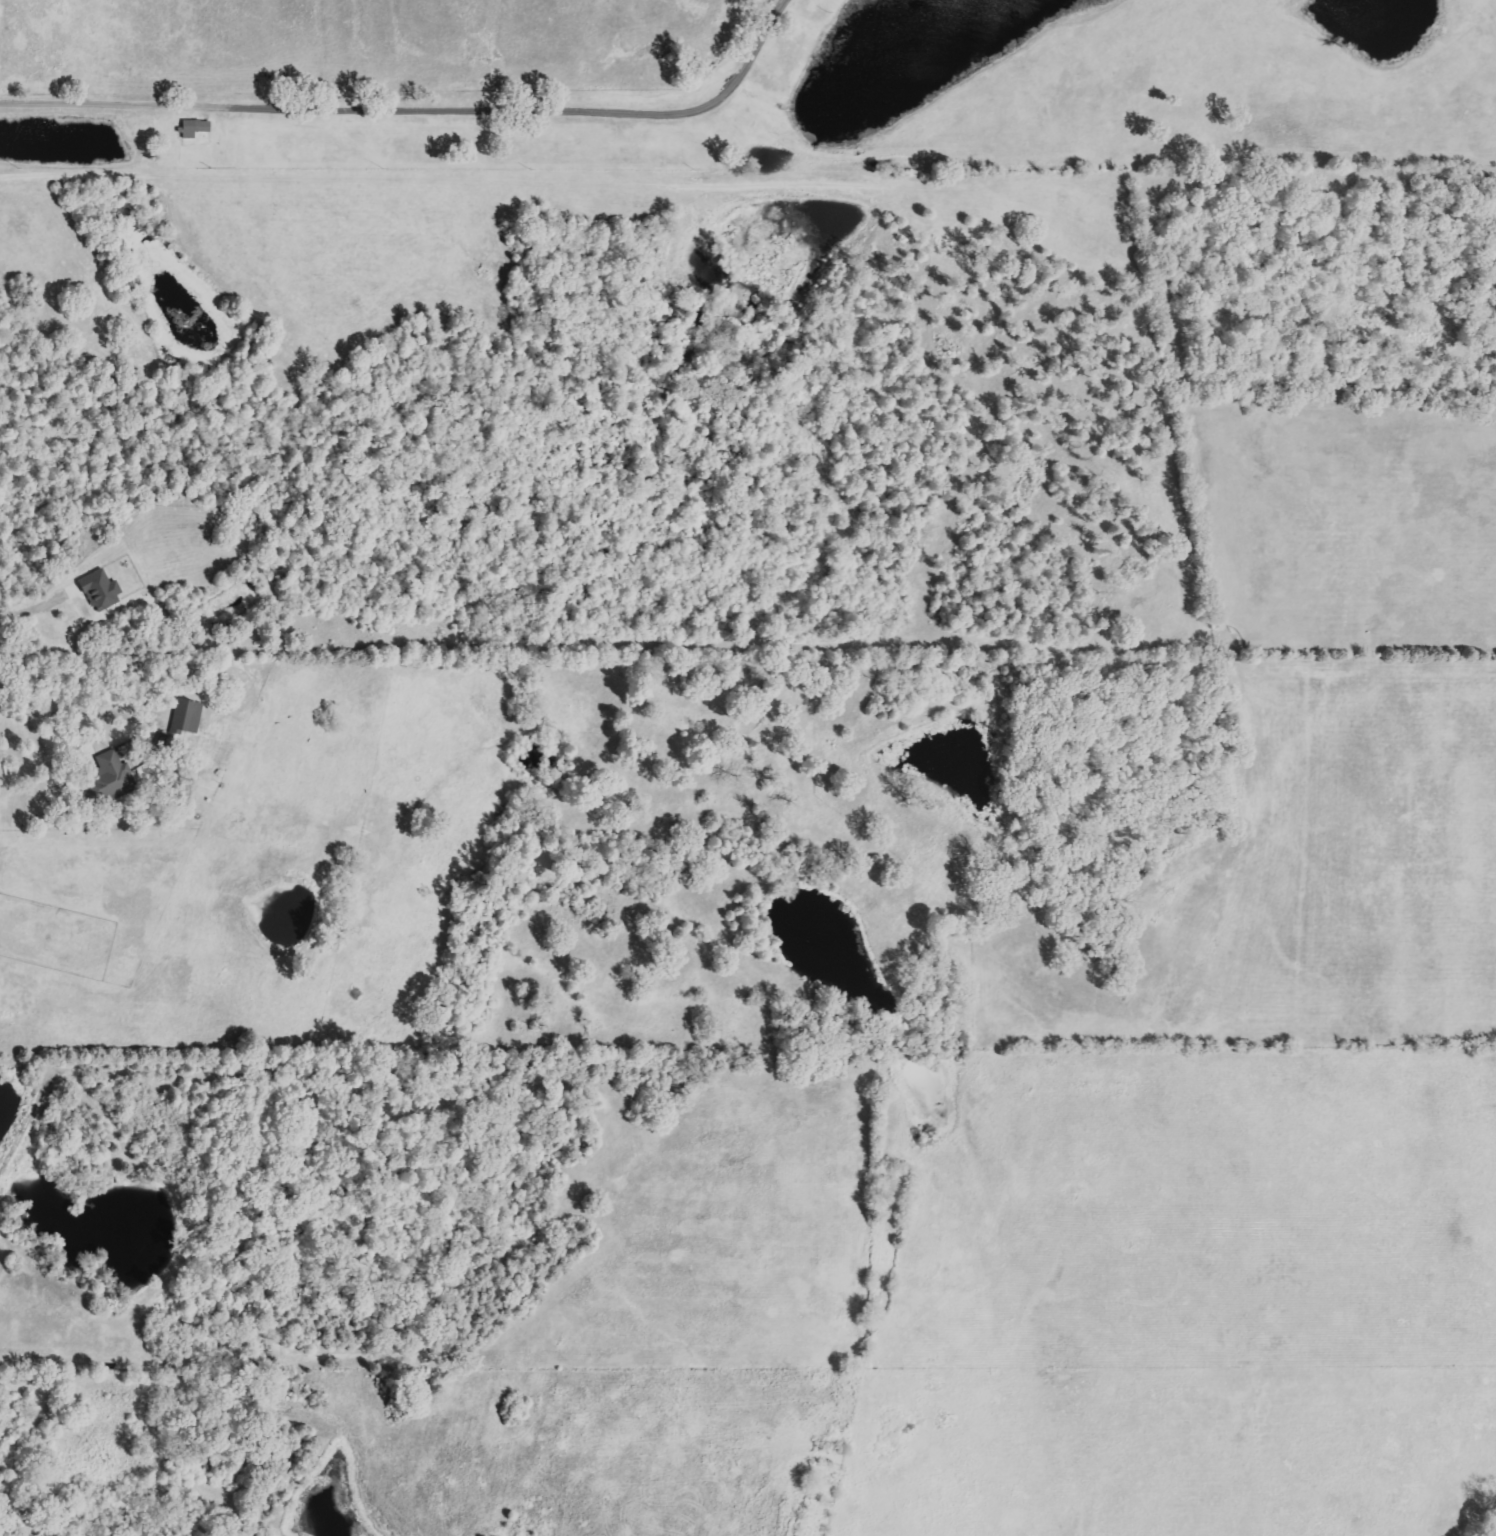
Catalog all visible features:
road: (424, 114)
building: (194, 128)
building: (101, 590)
road: (32, 604)
building: (186, 715)
building: (116, 771)

